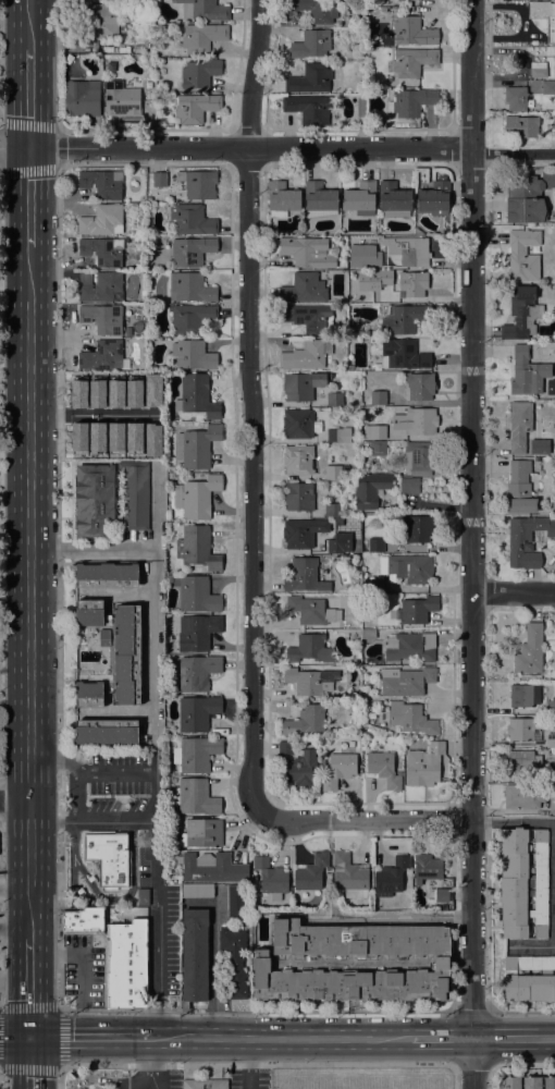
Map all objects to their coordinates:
building: (203, 10)
building: (317, 10)
building: (101, 20)
building: (159, 24)
road: (28, 26)
building: (551, 29)
building: (412, 32)
building: (202, 37)
building: (311, 44)
building: (115, 48)
building: (138, 48)
building: (411, 61)
building: (554, 64)
building: (114, 69)
building: (538, 70)
building: (199, 73)
building: (310, 78)
building: (548, 87)
building: (82, 98)
building: (517, 98)
building: (122, 99)
road: (28, 100)
building: (411, 101)
building: (151, 105)
building: (361, 107)
building: (194, 108)
building: (309, 109)
building: (159, 122)
building: (554, 122)
building: (521, 126)
road: (292, 147)
road: (14, 148)
traffic signals: (28, 148)
road: (3, 168)
building: (159, 179)
building: (102, 183)
building: (200, 184)
road: (28, 188)
building: (434, 197)
building: (528, 197)
building: (282, 198)
building: (360, 198)
building: (320, 199)
building: (394, 199)
building: (102, 220)
building: (190, 220)
building: (103, 250)
building: (192, 250)
building: (406, 250)
building: (308, 252)
building: (522, 255)
building: (385, 277)
building: (85, 278)
building: (412, 283)
building: (102, 287)
building: (190, 287)
building: (304, 287)
building: (522, 313)
building: (306, 316)
building: (192, 317)
building: (103, 318)
building: (405, 318)
building: (355, 330)
building: (127, 331)
building: (193, 355)
building: (306, 355)
building: (403, 355)
building: (104, 356)
building: (349, 367)
building: (527, 374)
building: (303, 384)
building: (419, 386)
building: (133, 390)
building: (152, 390)
building: (78, 393)
building: (96, 393)
building: (115, 393)
building: (196, 396)
building: (378, 397)
building: (334, 399)
road: (254, 404)
road: (92, 415)
building: (415, 420)
building: (299, 424)
building: (519, 425)
building: (135, 429)
building: (374, 431)
building: (338, 435)
building: (78, 437)
building: (96, 437)
building: (114, 438)
building: (152, 440)
building: (197, 446)
building: (539, 446)
building: (378, 448)
building: (323, 451)
building: (158, 452)
building: (420, 455)
building: (299, 460)
building: (334, 472)
building: (175, 475)
building: (409, 485)
building: (519, 488)
building: (370, 489)
building: (135, 494)
building: (196, 497)
building: (298, 497)
building: (94, 499)
road: (155, 507)
building: (332, 510)
building: (416, 528)
building: (301, 531)
building: (527, 540)
road: (471, 543)
building: (374, 544)
building: (334, 546)
building: (197, 548)
road: (89, 549)
road: (151, 556)
building: (408, 567)
building: (106, 575)
building: (304, 575)
building: (168, 578)
road: (28, 583)
building: (372, 585)
road: (514, 590)
building: (196, 594)
building: (417, 609)
building: (309, 610)
building: (88, 612)
building: (197, 632)
building: (368, 634)
building: (104, 637)
road: (151, 641)
building: (406, 644)
building: (309, 649)
building: (529, 650)
building: (127, 654)
building: (197, 672)
building: (309, 681)
building: (406, 681)
building: (89, 695)
building: (351, 695)
building: (523, 695)
building: (367, 703)
building: (354, 707)
building: (550, 707)
building: (196, 712)
building: (411, 719)
building: (304, 721)
building: (522, 730)
building: (106, 734)
building: (551, 741)
building: (285, 747)
building: (196, 754)
building: (523, 763)
building: (423, 764)
building: (300, 768)
building: (383, 769)
building: (338, 770)
road: (115, 771)
road: (58, 784)
building: (523, 795)
building: (195, 796)
road: (14, 799)
building: (552, 806)
road: (365, 819)
road: (513, 821)
building: (201, 833)
building: (108, 856)
road: (155, 865)
building: (212, 867)
building: (427, 868)
building: (311, 872)
building: (349, 876)
building: (391, 877)
building: (254, 878)
building: (271, 878)
building: (406, 878)
building: (523, 881)
road: (554, 883)
building: (196, 890)
road: (14, 891)
building: (442, 895)
building: (143, 896)
building: (235, 901)
road: (388, 918)
building: (83, 920)
road: (532, 946)
building: (195, 955)
building: (234, 960)
building: (125, 962)
building: (374, 963)
building: (280, 964)
road: (84, 967)
building: (529, 979)
road: (28, 986)
road: (471, 1012)
road: (522, 1012)
road: (14, 1037)
traffic signals: (29, 1037)
road: (60, 1037)
road: (88, 1037)
road: (280, 1038)
road: (441, 1038)
road: (513, 1038)
road: (29, 1063)
road: (149, 1063)
road: (144, 1064)
road: (250, 1064)
road: (365, 1064)
road: (474, 1064)
road: (525, 1064)
road: (97, 1077)
road: (138, 1077)
building: (511, 1082)
building: (531, 1082)
building: (550, 1082)
building: (205, 1084)
road: (127, 1085)

